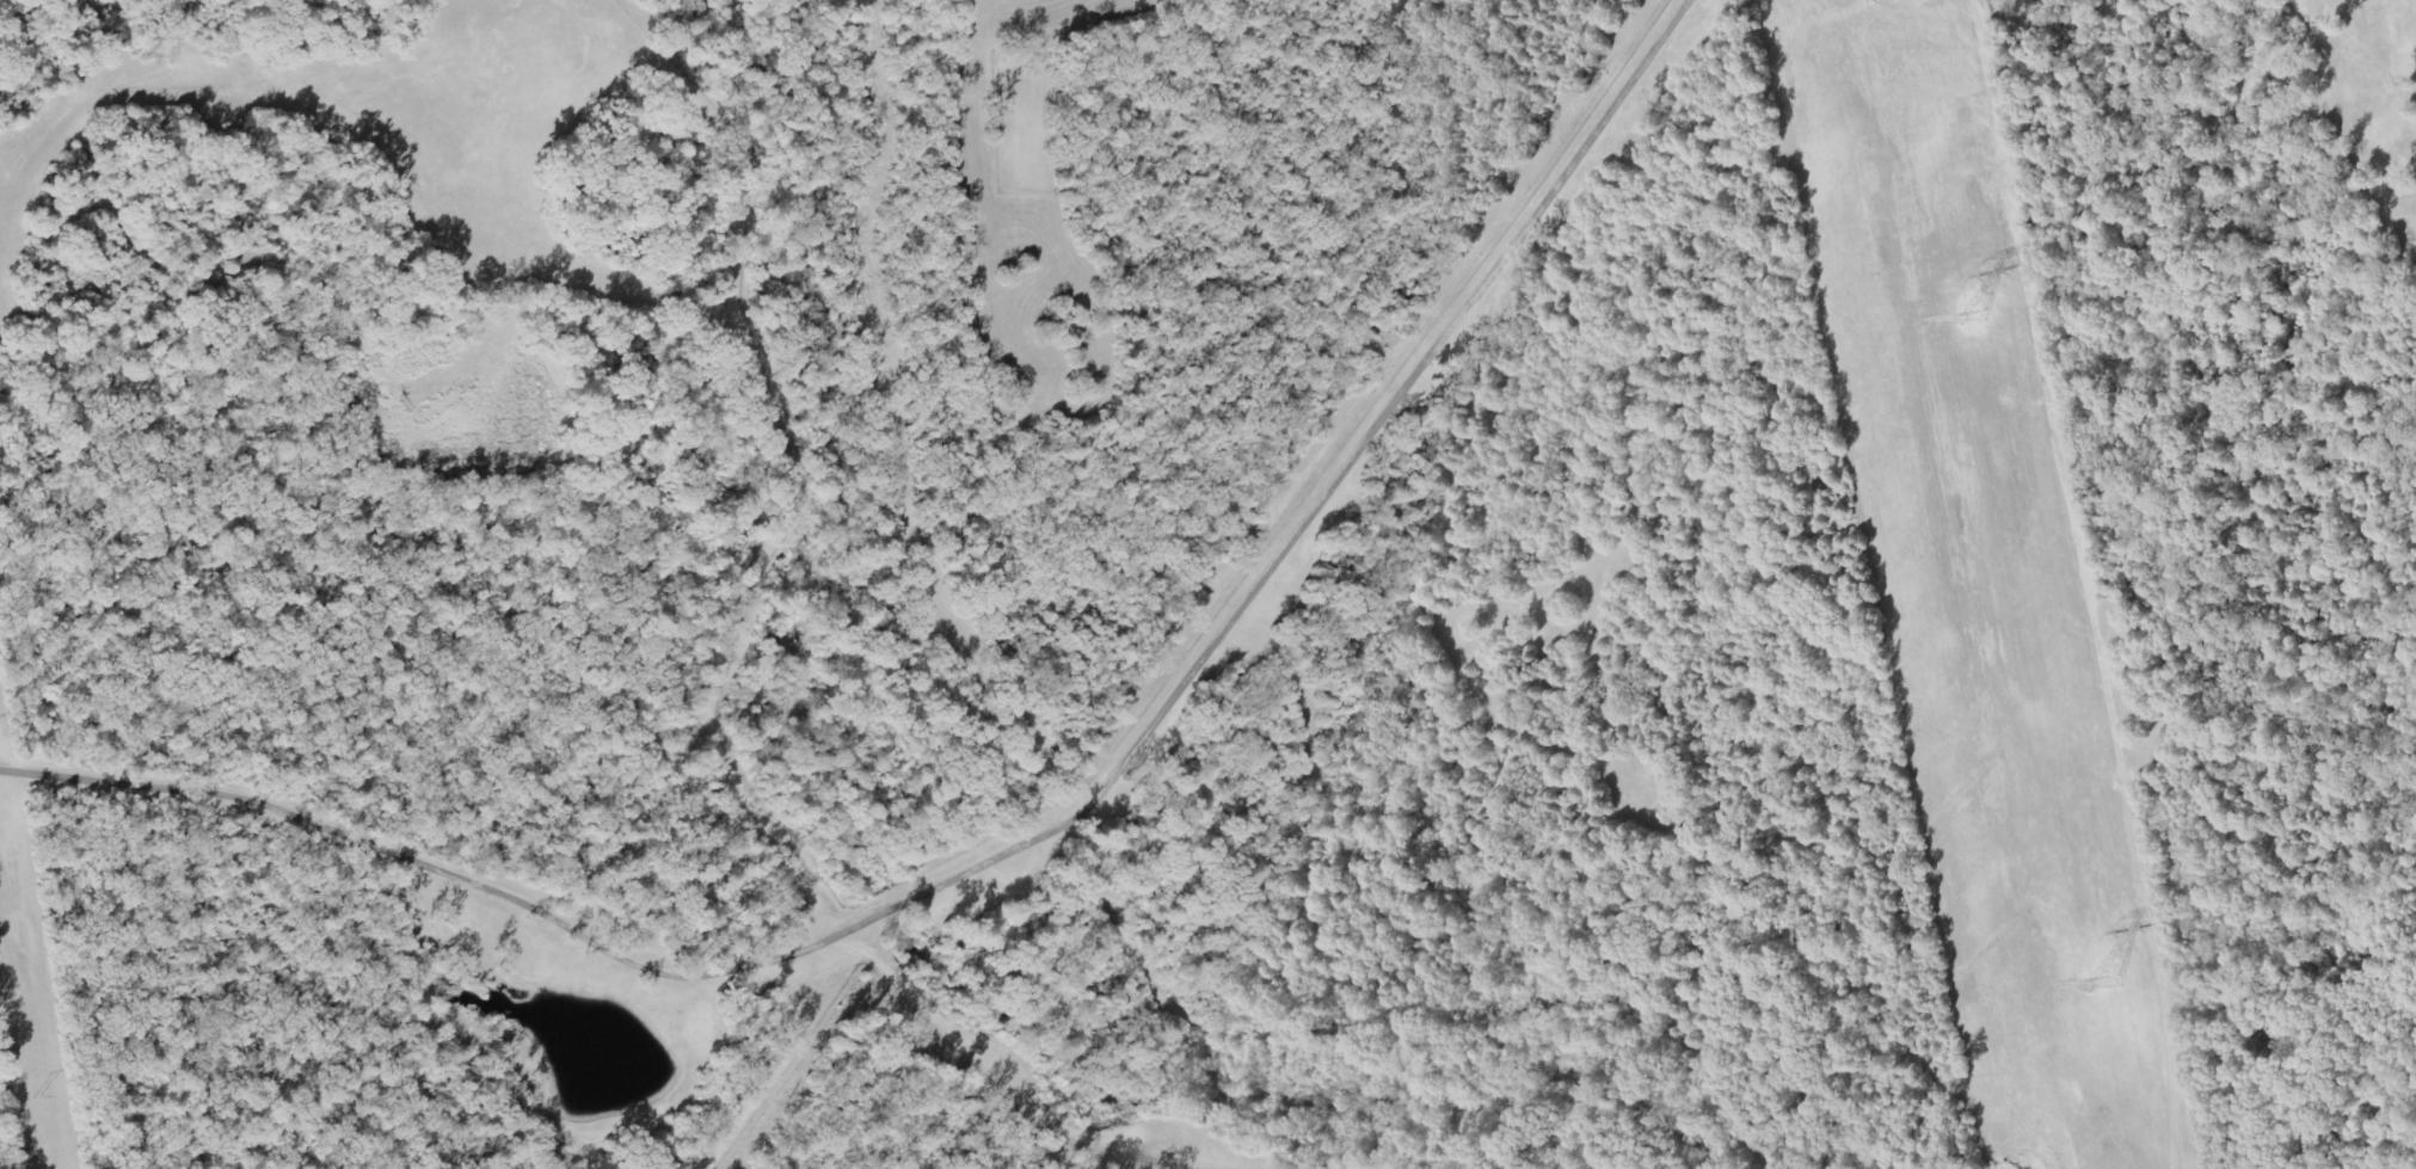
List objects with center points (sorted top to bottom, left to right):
power tower: (1973, 318)
power tower: (2104, 985)
power tower: (38, 1094)

